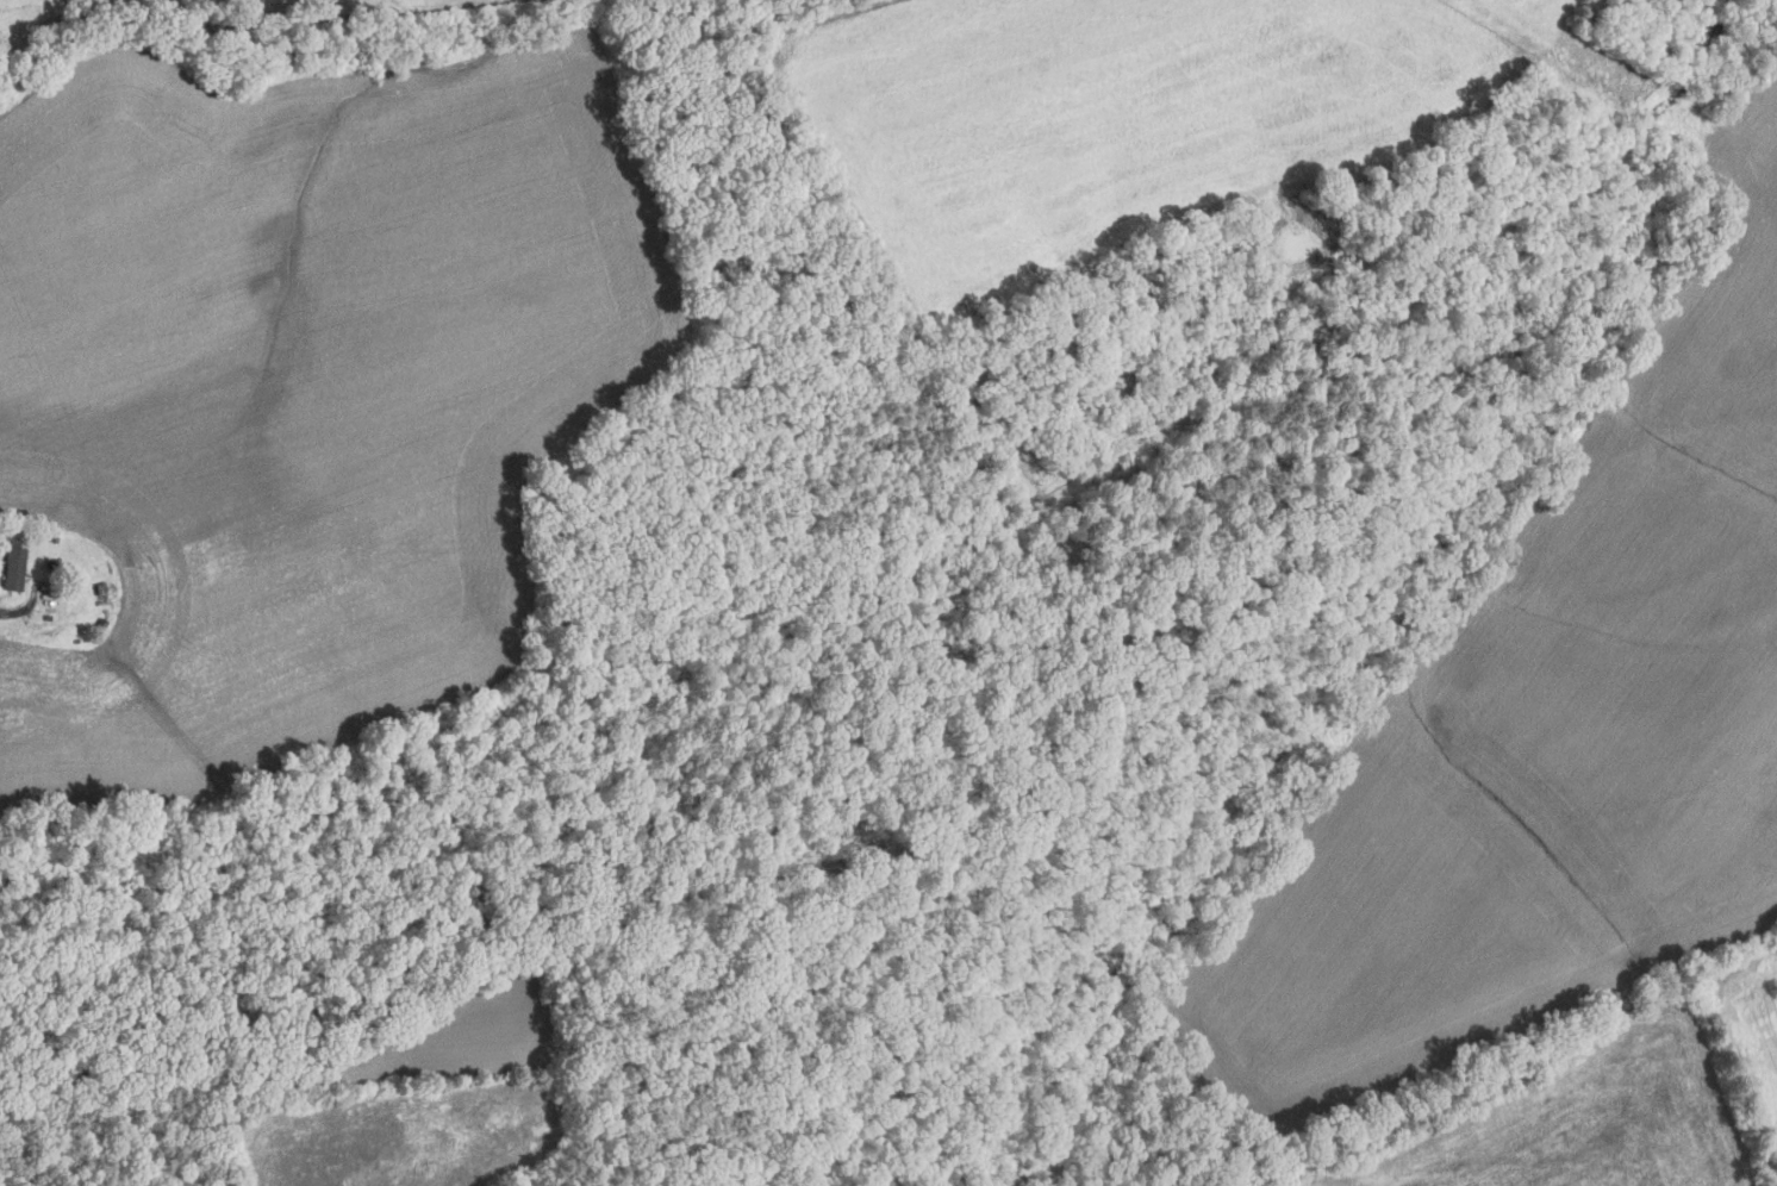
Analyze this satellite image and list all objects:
building: (13, 568)
building: (101, 594)
road: (25, 607)
crop: (1546, 729)

